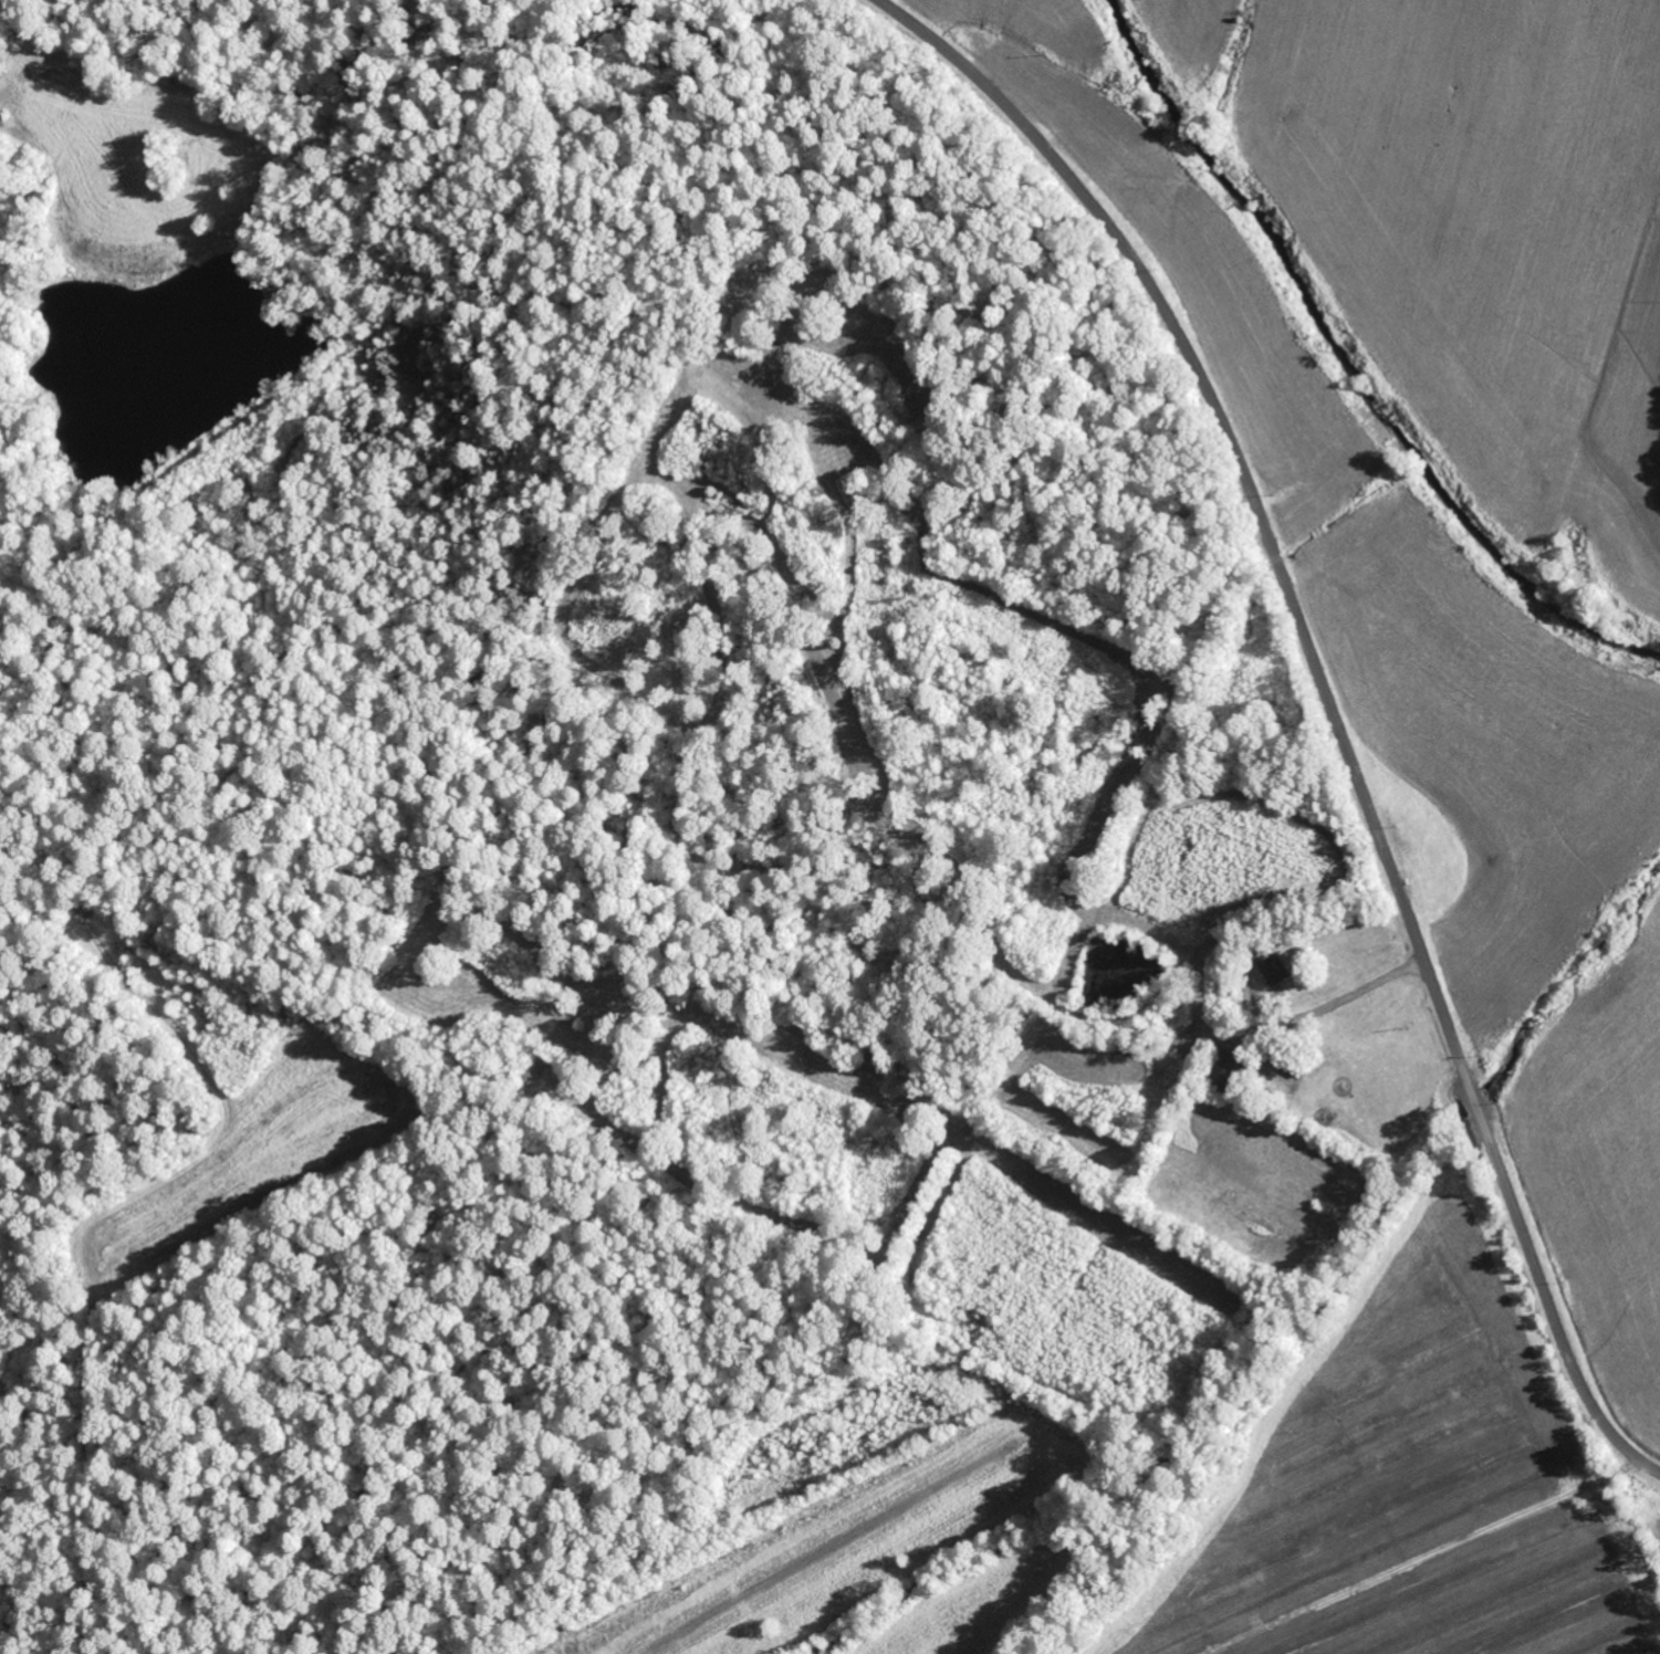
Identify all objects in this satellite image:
road: (1327, 700)
building: (1275, 970)

